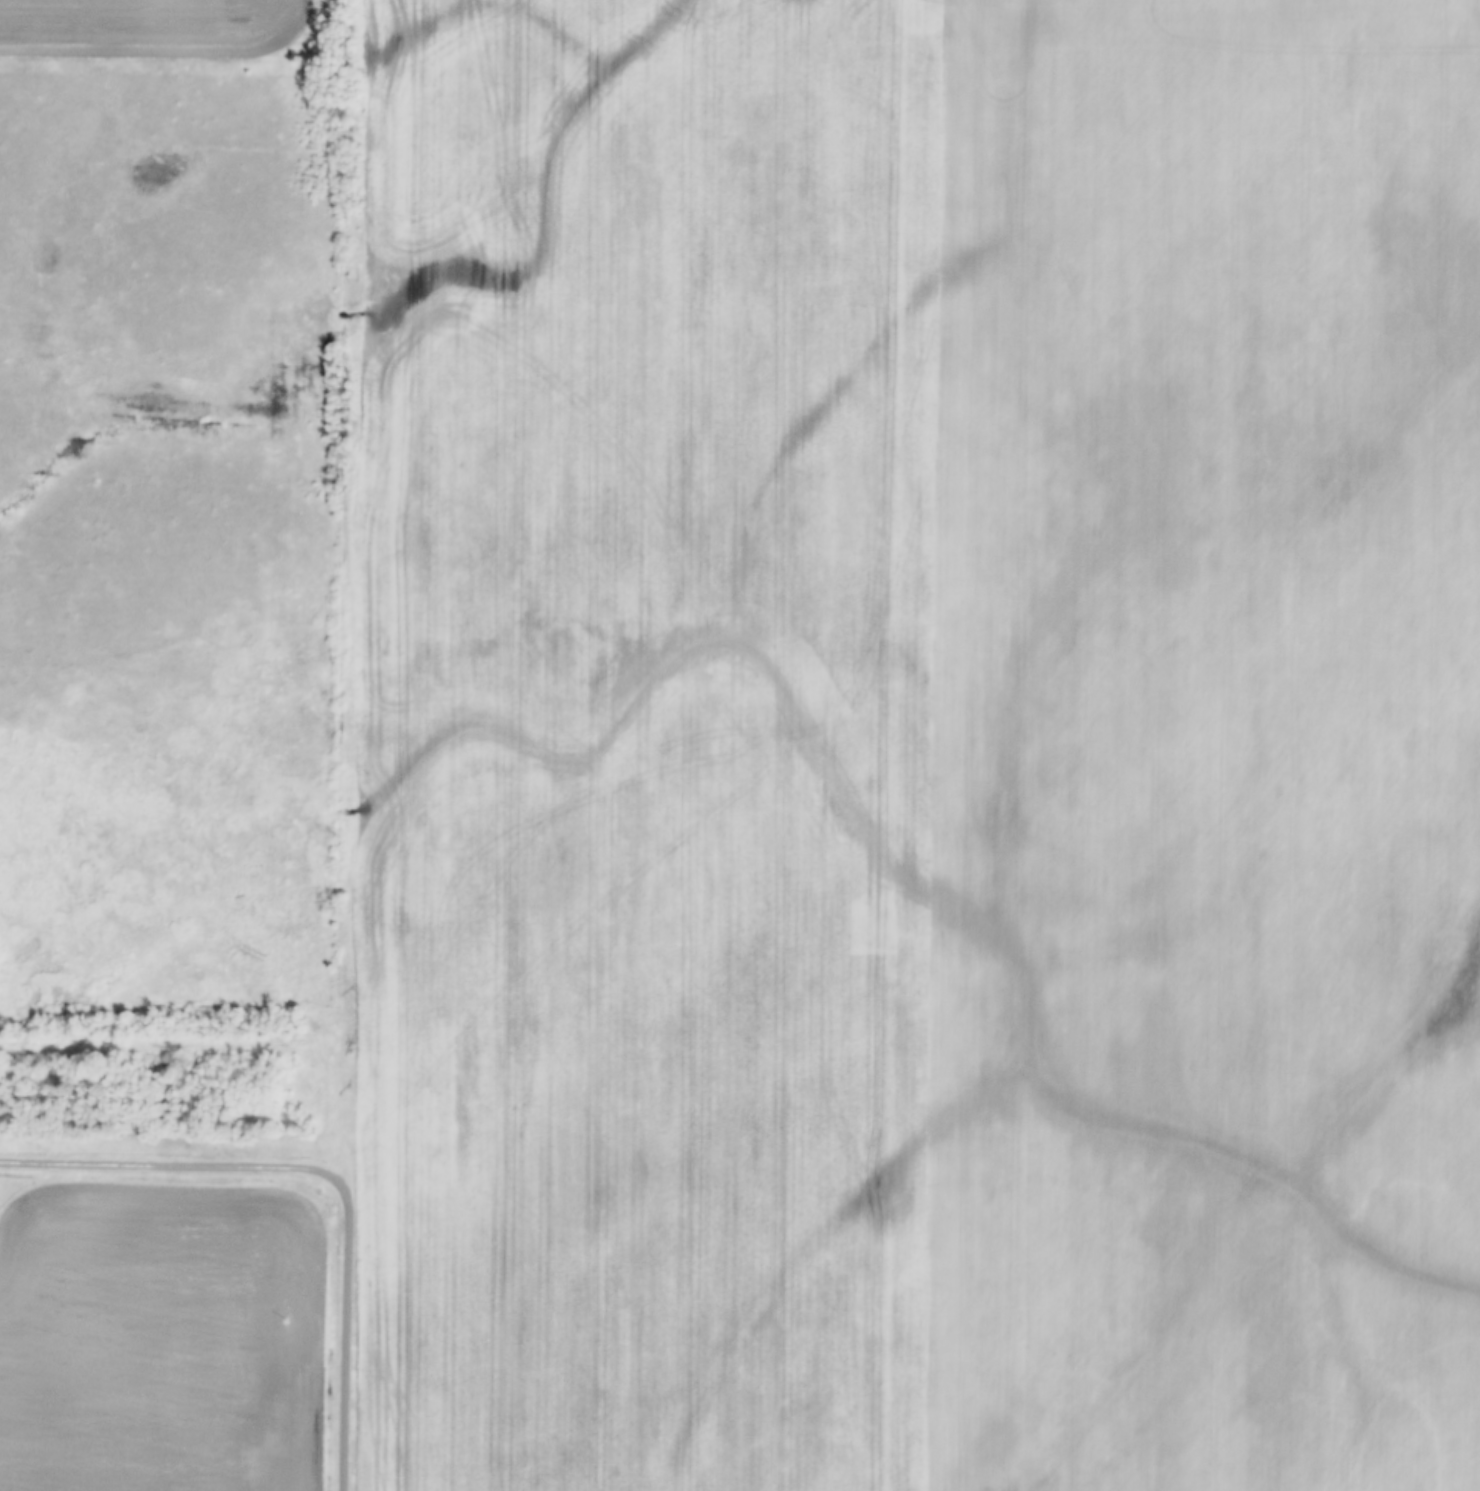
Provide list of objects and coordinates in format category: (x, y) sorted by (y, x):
road: (173, 1162)
road: (356, 1330)

